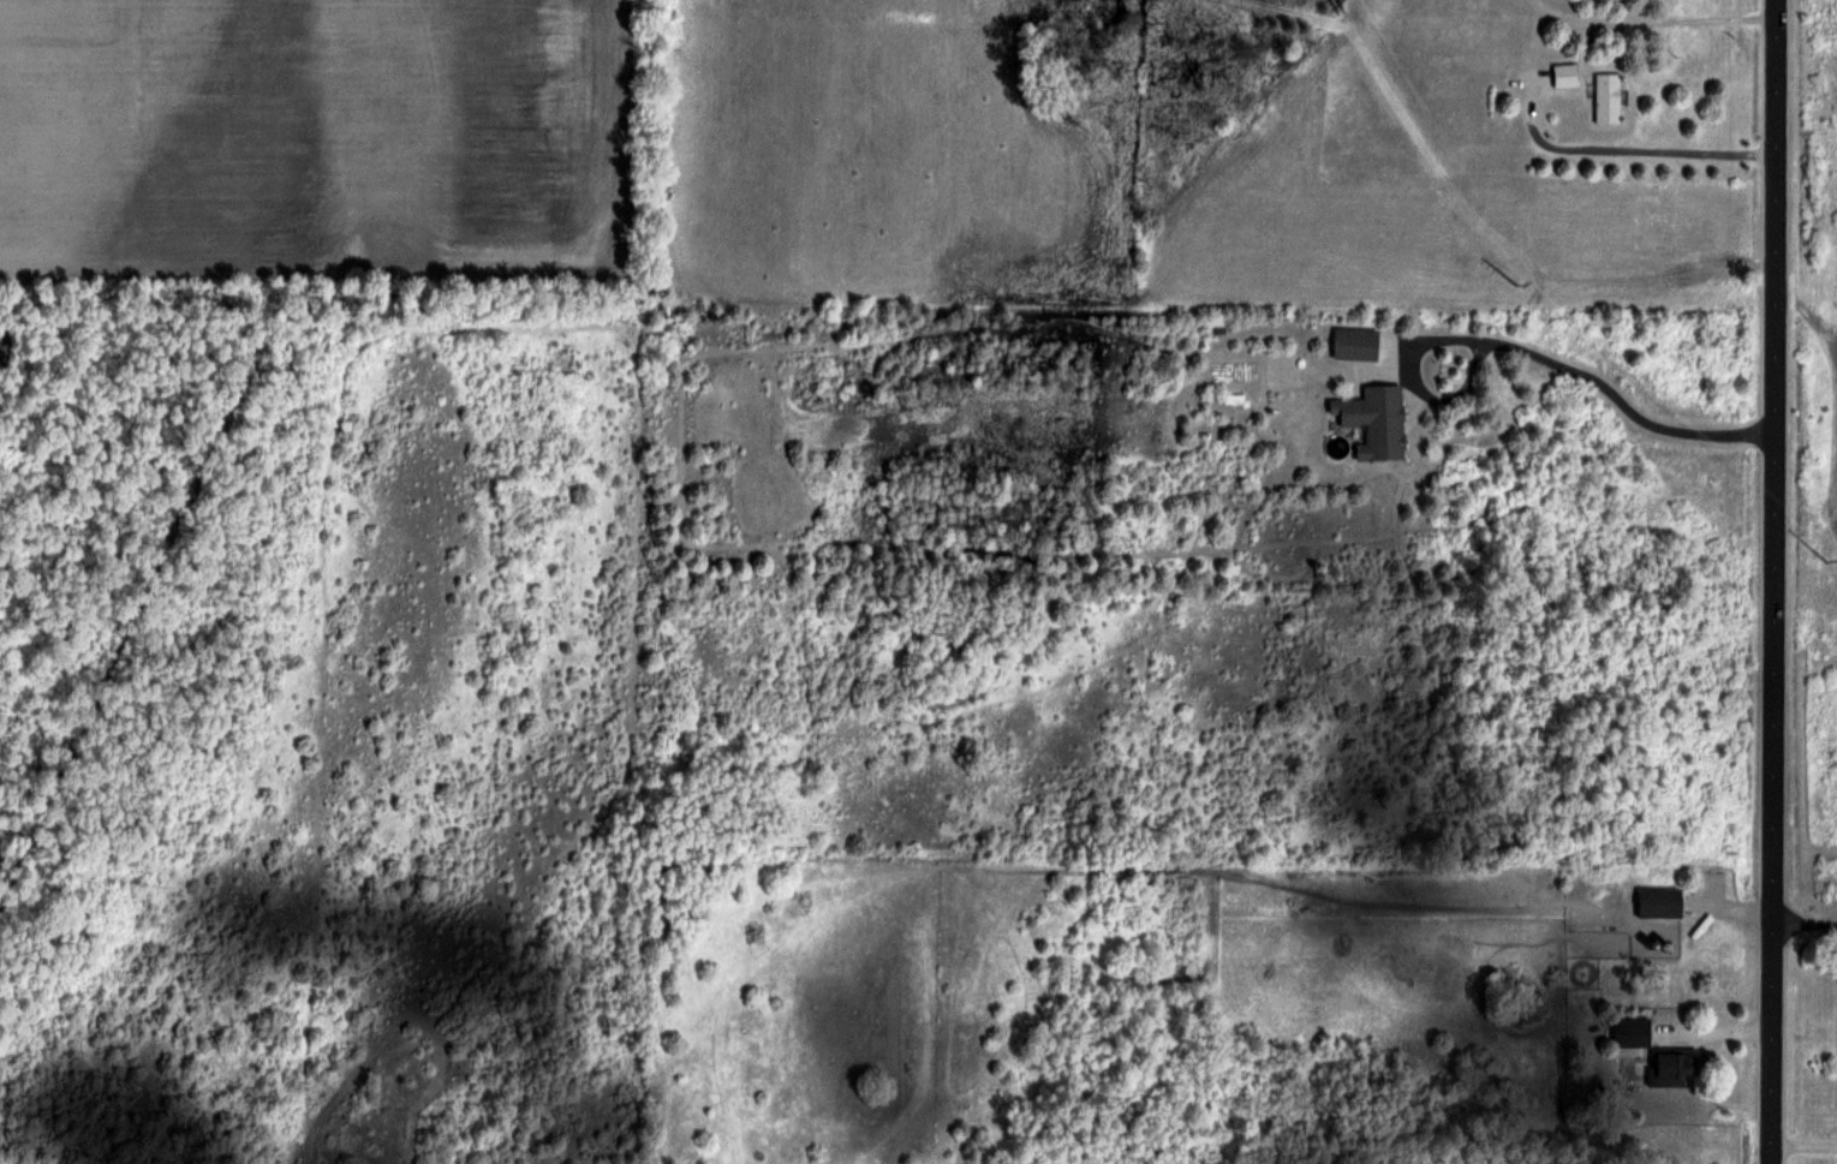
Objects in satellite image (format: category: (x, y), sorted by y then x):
building: (1564, 74)
building: (1608, 96)
power tower: (1520, 283)
building: (1355, 341)
road: (1594, 383)
building: (1373, 419)
power tower: (1825, 559)
road: (1772, 581)
building: (1659, 901)
building: (1630, 1031)
building: (1671, 1065)
road: (1803, 1147)

